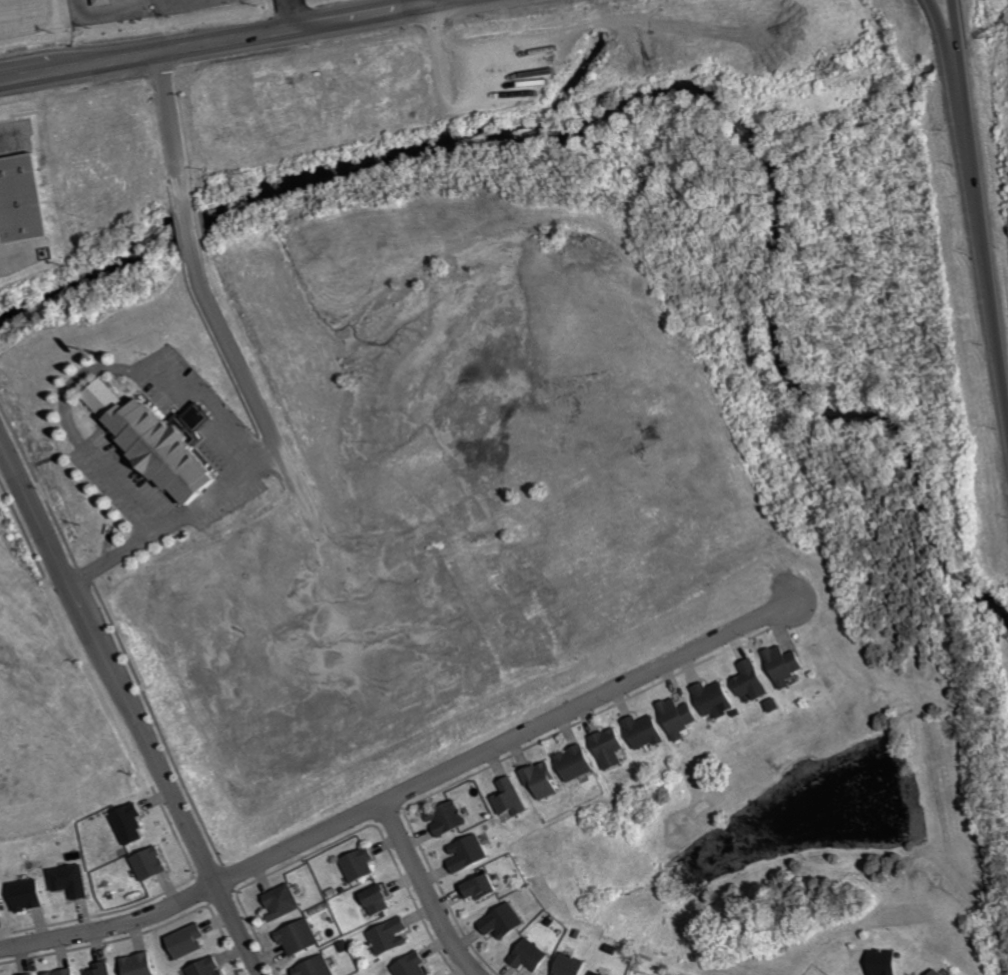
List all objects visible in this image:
building: (99, 2)
road: (426, 3)
road: (435, 3)
road: (461, 3)
road: (942, 41)
road: (956, 42)
road: (213, 44)
road: (171, 133)
road: (188, 226)
road: (981, 248)
road: (92, 372)
road: (250, 391)
building: (98, 396)
building: (154, 444)
road: (172, 519)
building: (779, 665)
building: (746, 681)
building: (710, 699)
road: (128, 712)
building: (673, 718)
building: (638, 732)
building: (604, 747)
building: (570, 763)
building: (537, 780)
road: (403, 792)
building: (504, 797)
building: (441, 818)
building: (123, 823)
building: (462, 853)
building: (143, 864)
building: (353, 865)
building: (65, 881)
building: (472, 887)
road: (423, 892)
building: (24, 895)
building: (372, 898)
building: (276, 903)
building: (498, 922)
building: (384, 935)
building: (292, 937)
building: (181, 941)
building: (524, 955)
building: (879, 962)
building: (134, 964)
building: (406, 965)
building: (567, 965)
building: (200, 967)
building: (310, 967)
building: (95, 969)
building: (58, 972)
building: (932, 972)
building: (29, 974)
building: (594, 974)

